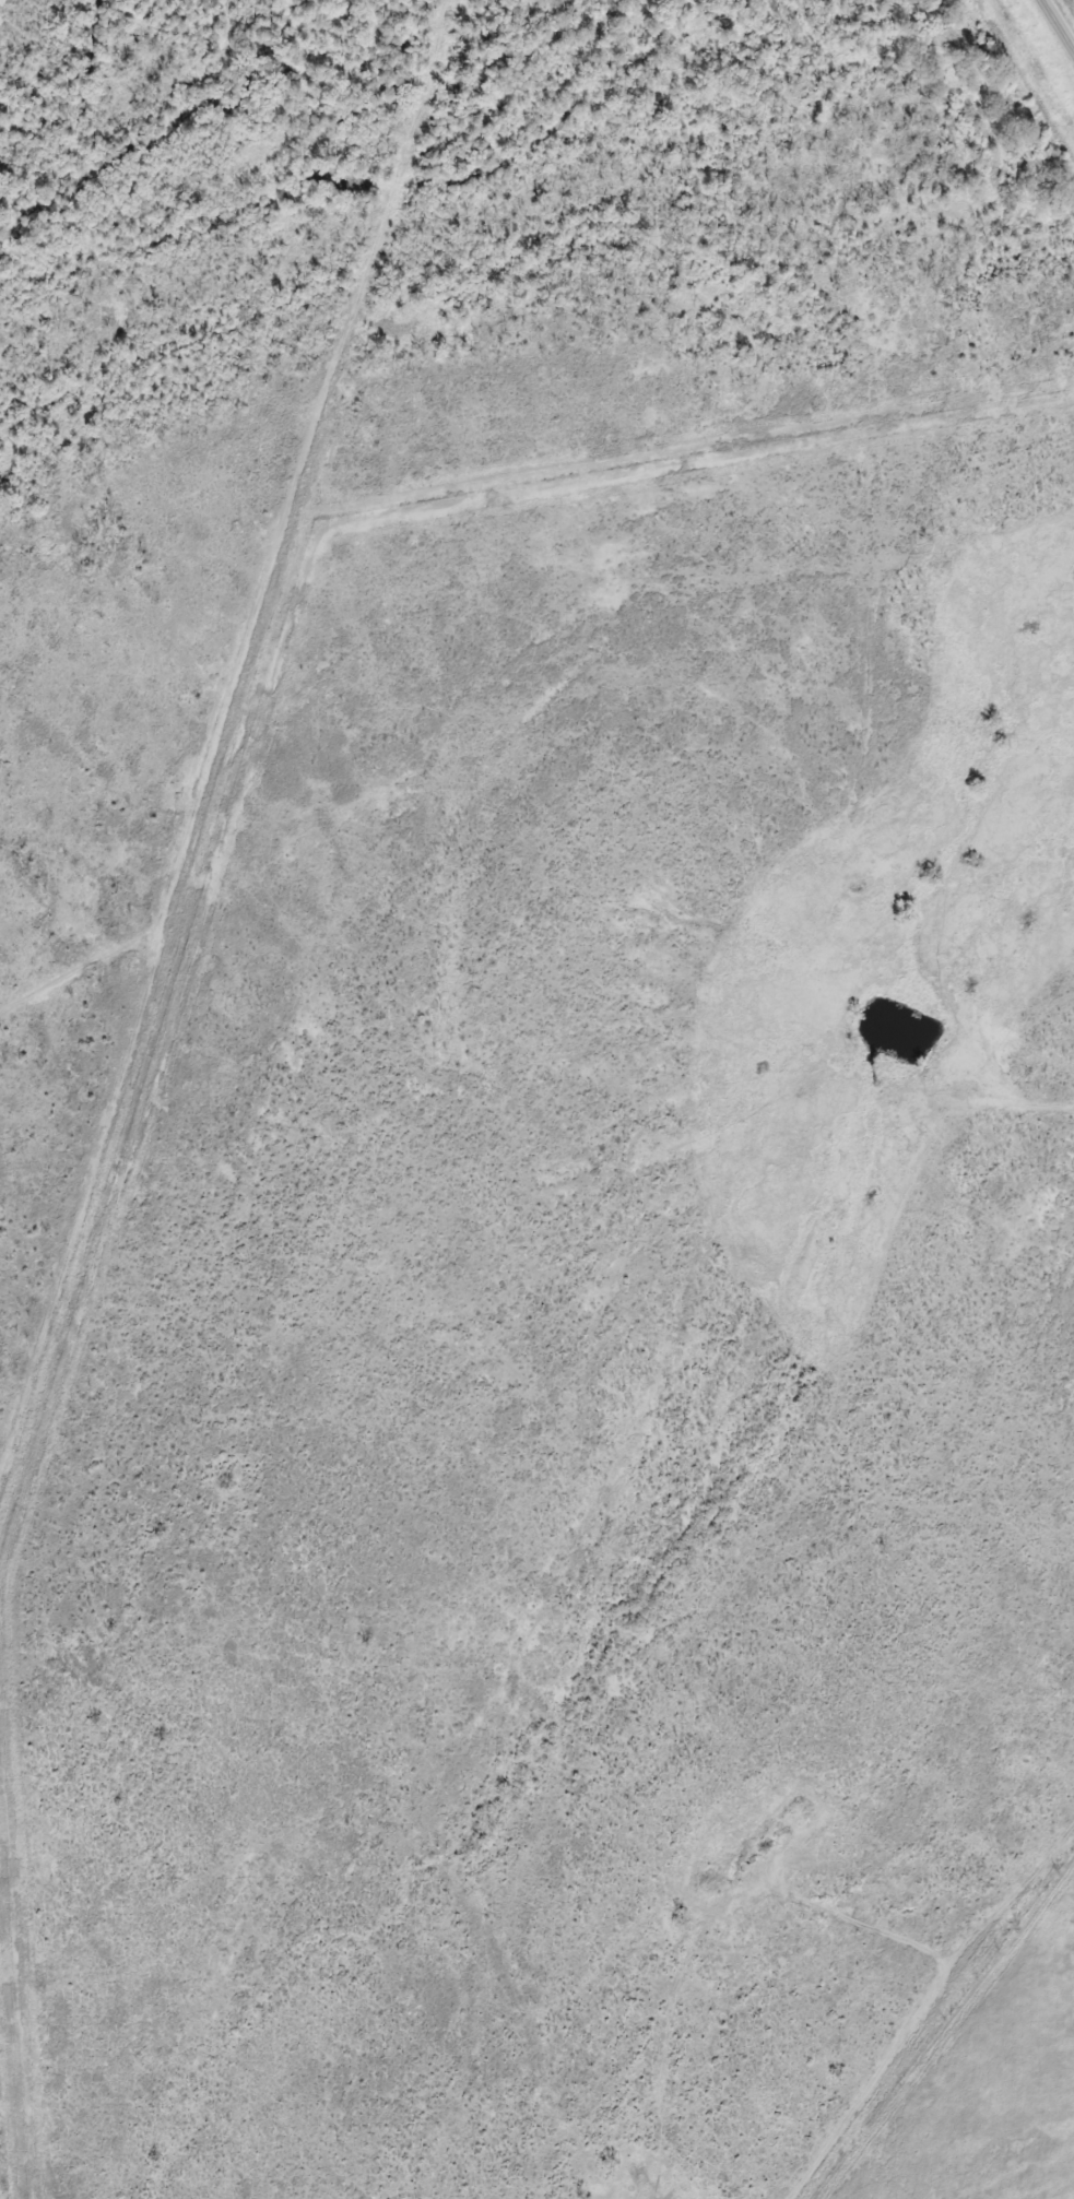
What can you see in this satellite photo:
road: (1059, 24)

